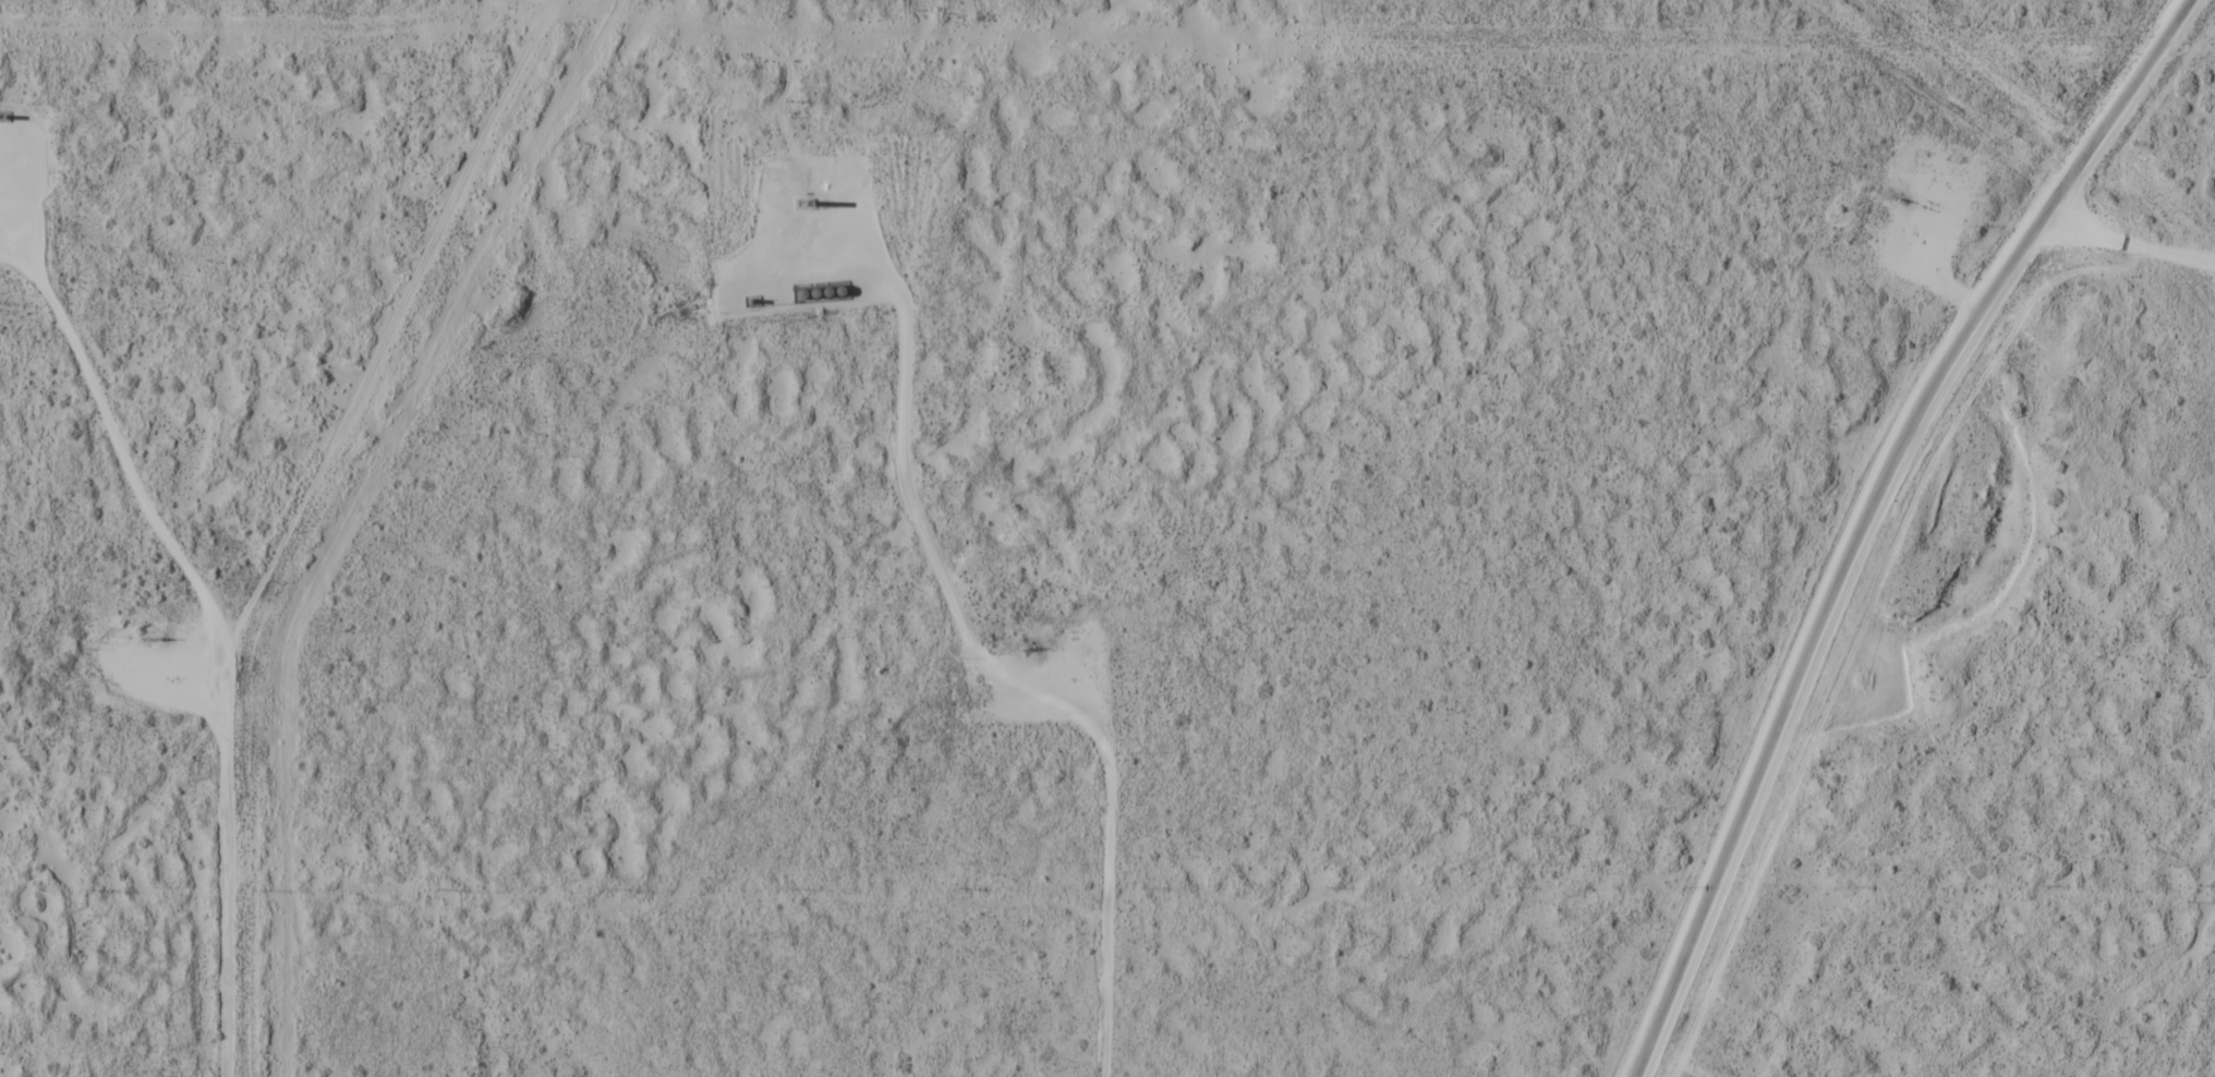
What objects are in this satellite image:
road: (11, 150)
road: (2131, 250)
road: (1909, 265)
road: (121, 452)
road: (904, 471)
road: (1881, 516)
road: (1111, 872)
road: (227, 909)

